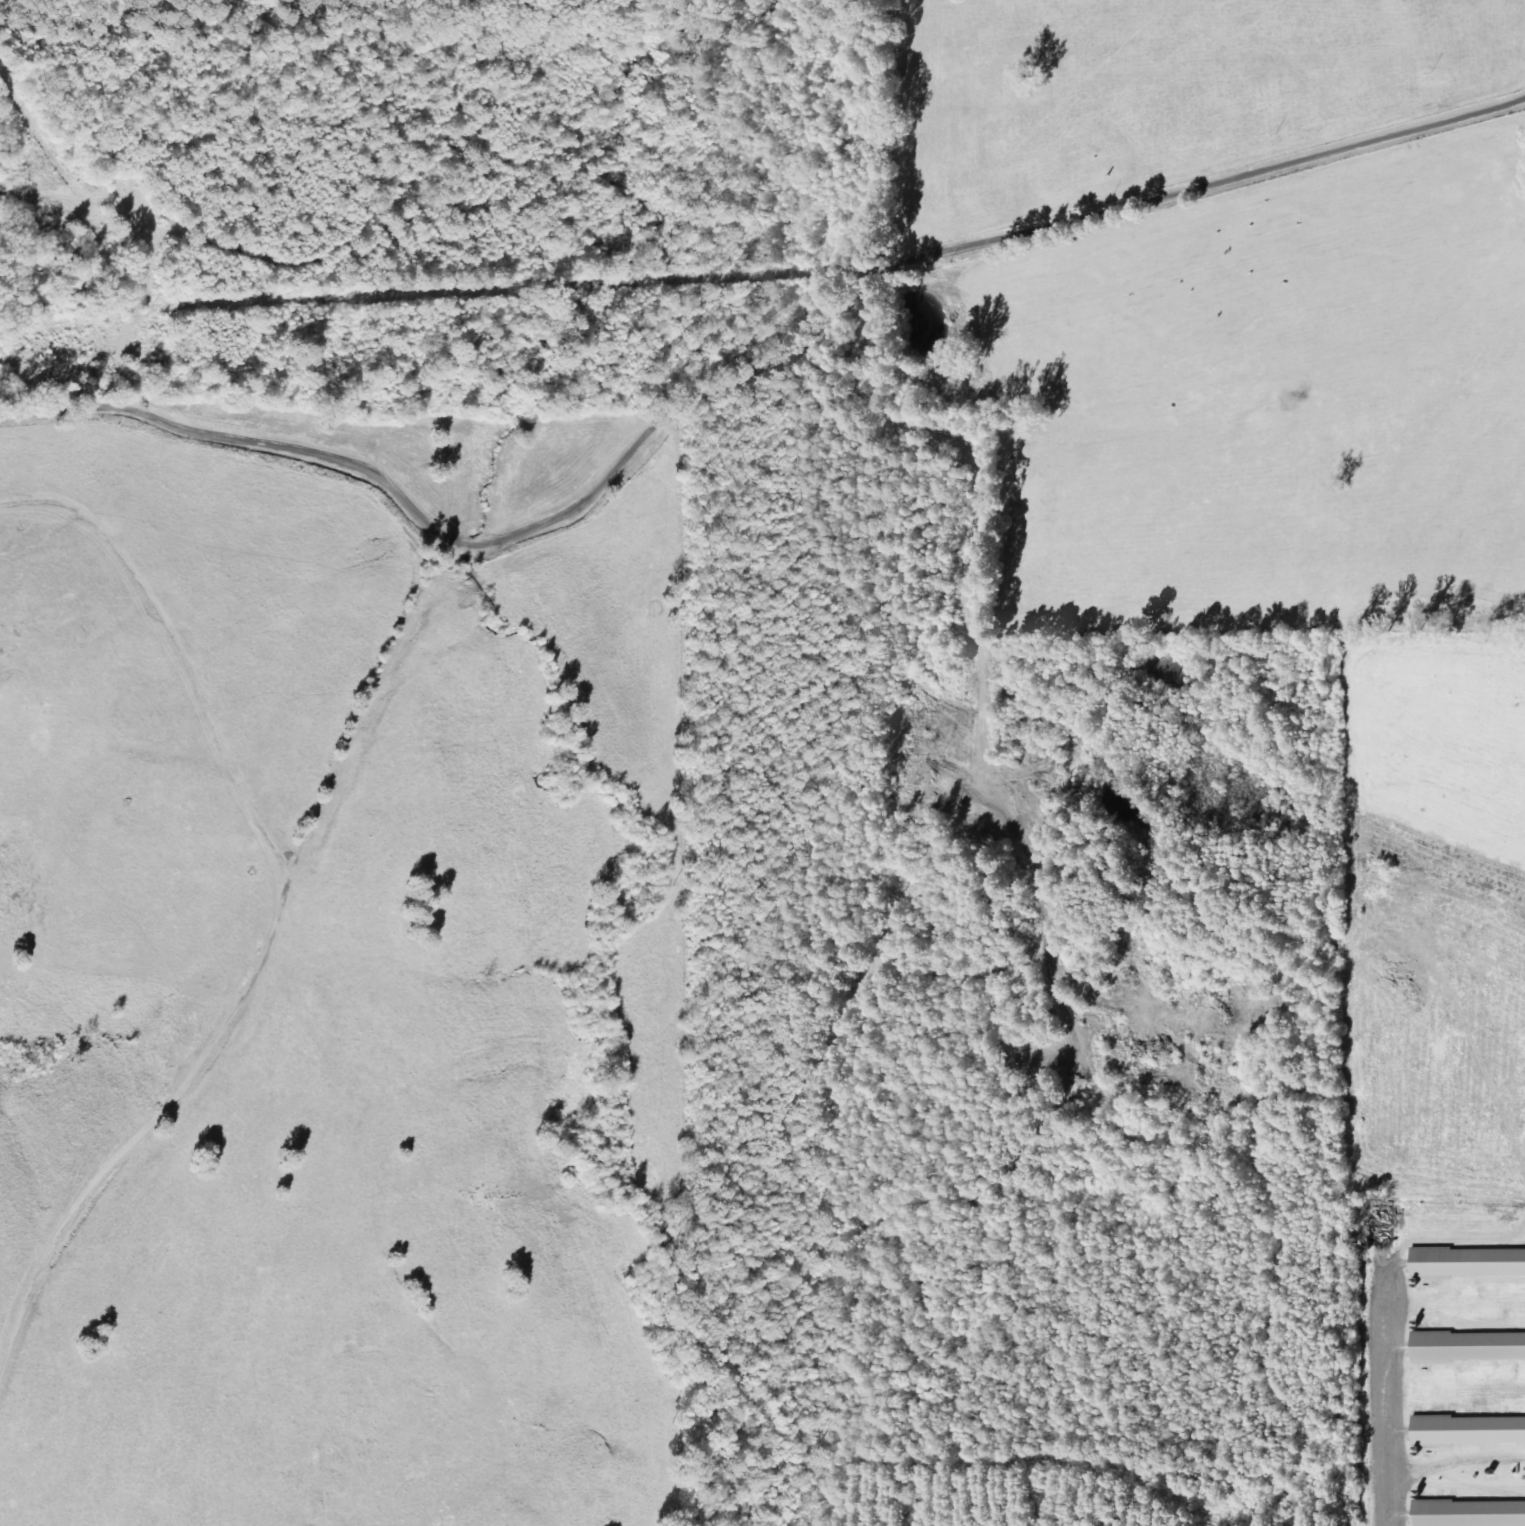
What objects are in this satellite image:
road: (989, 274)
road: (215, 462)
road: (480, 564)
road: (234, 1044)
building: (1382, 1228)
building: (1469, 1264)
building: (1469, 1348)
road: (1400, 1397)
building: (1470, 1432)
building: (1471, 1514)

